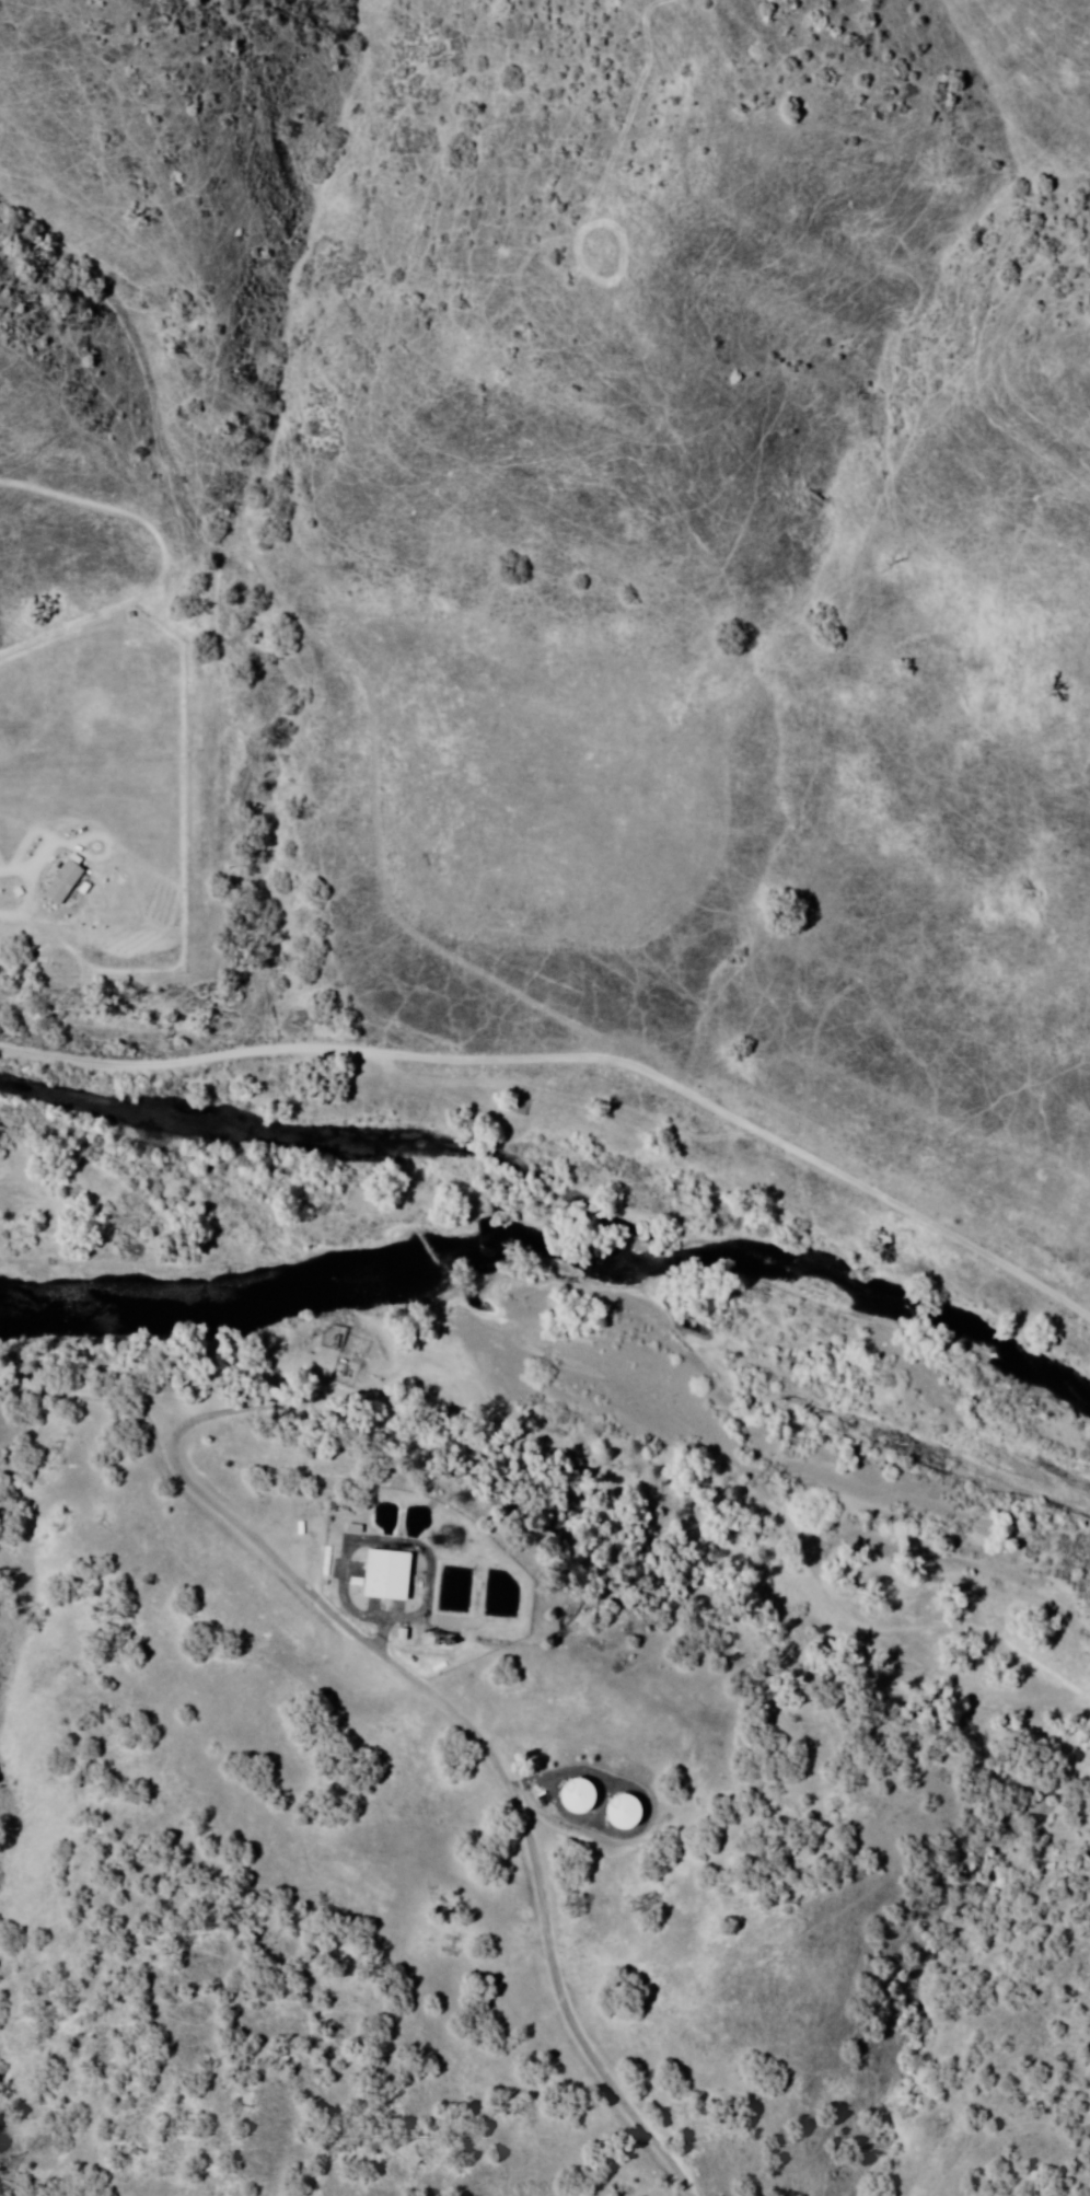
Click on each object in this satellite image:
road: (100, 504)
road: (88, 617)
crop: (102, 772)
road: (373, 783)
crop: (546, 785)
road: (577, 1067)
building: (517, 1105)
river: (536, 1269)
river: (373, 1278)
river: (207, 1301)
river: (86, 1305)
river: (659, 1319)
river: (915, 1449)
building: (386, 1576)
wastewater plant: (414, 1587)
road: (425, 1687)
storage tank: (581, 1790)
building: (570, 1798)
storage tank: (626, 1807)
building: (618, 1813)

